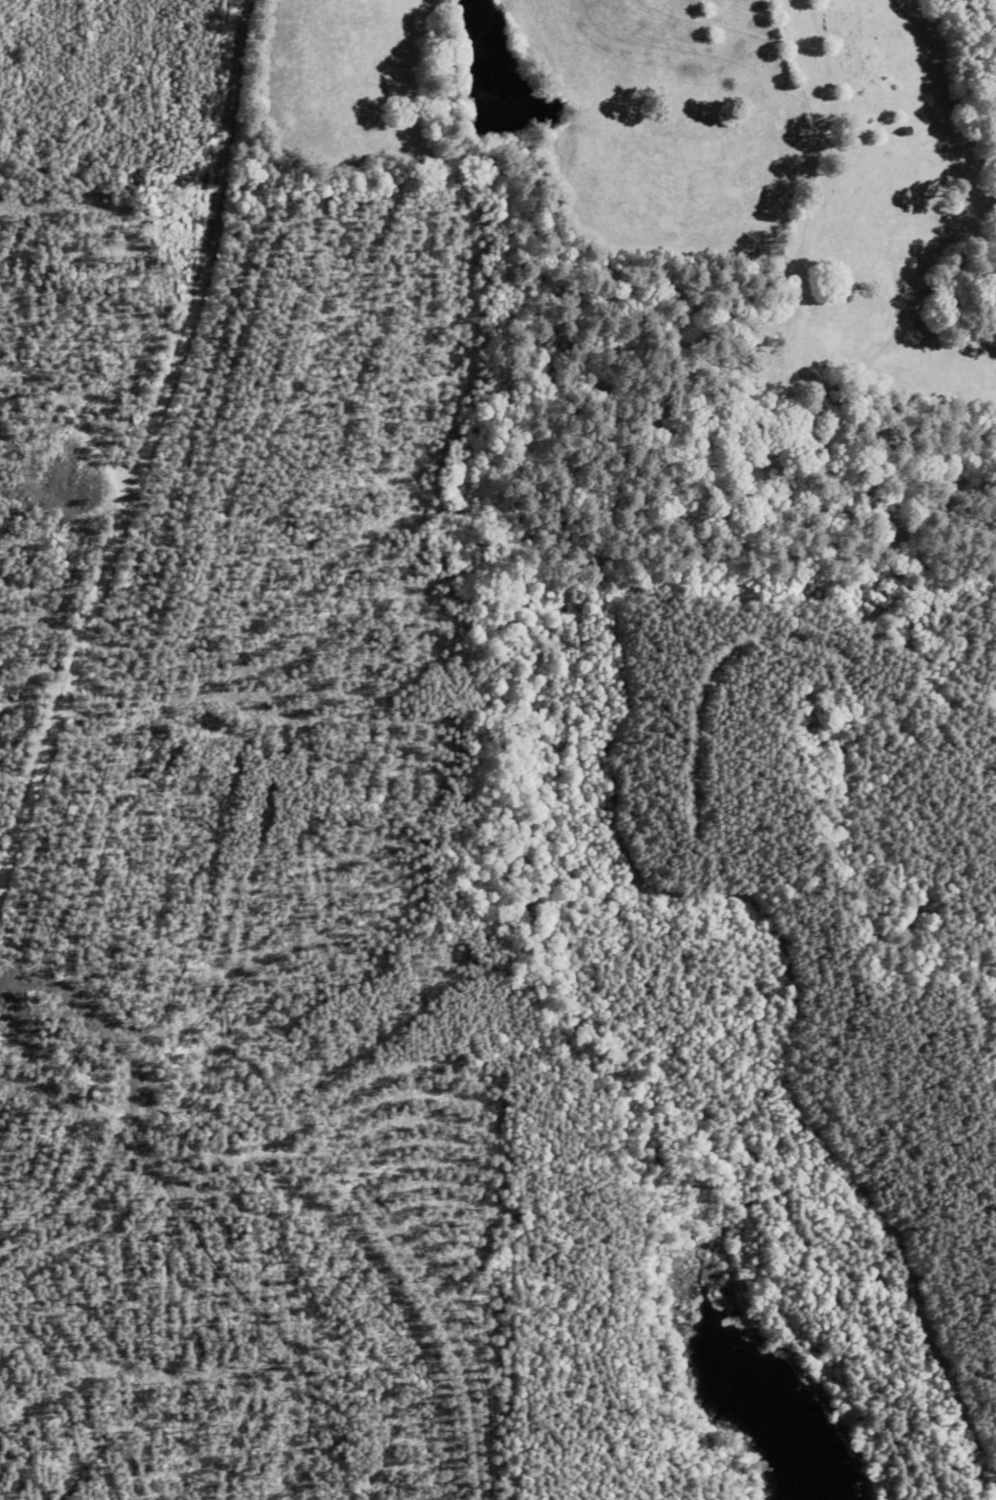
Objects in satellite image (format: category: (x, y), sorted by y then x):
road: (137, 425)

